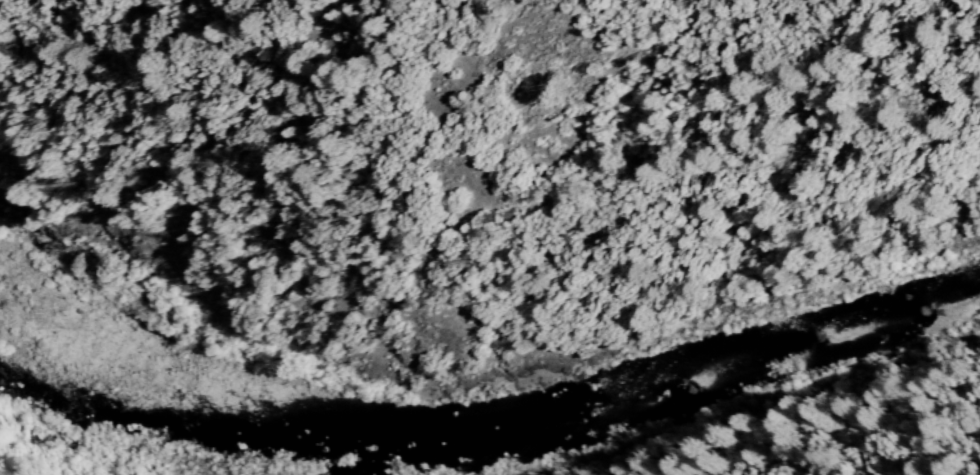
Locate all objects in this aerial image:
road: (487, 250)
river: (663, 371)
river: (60, 373)
river: (82, 402)
river: (134, 455)

